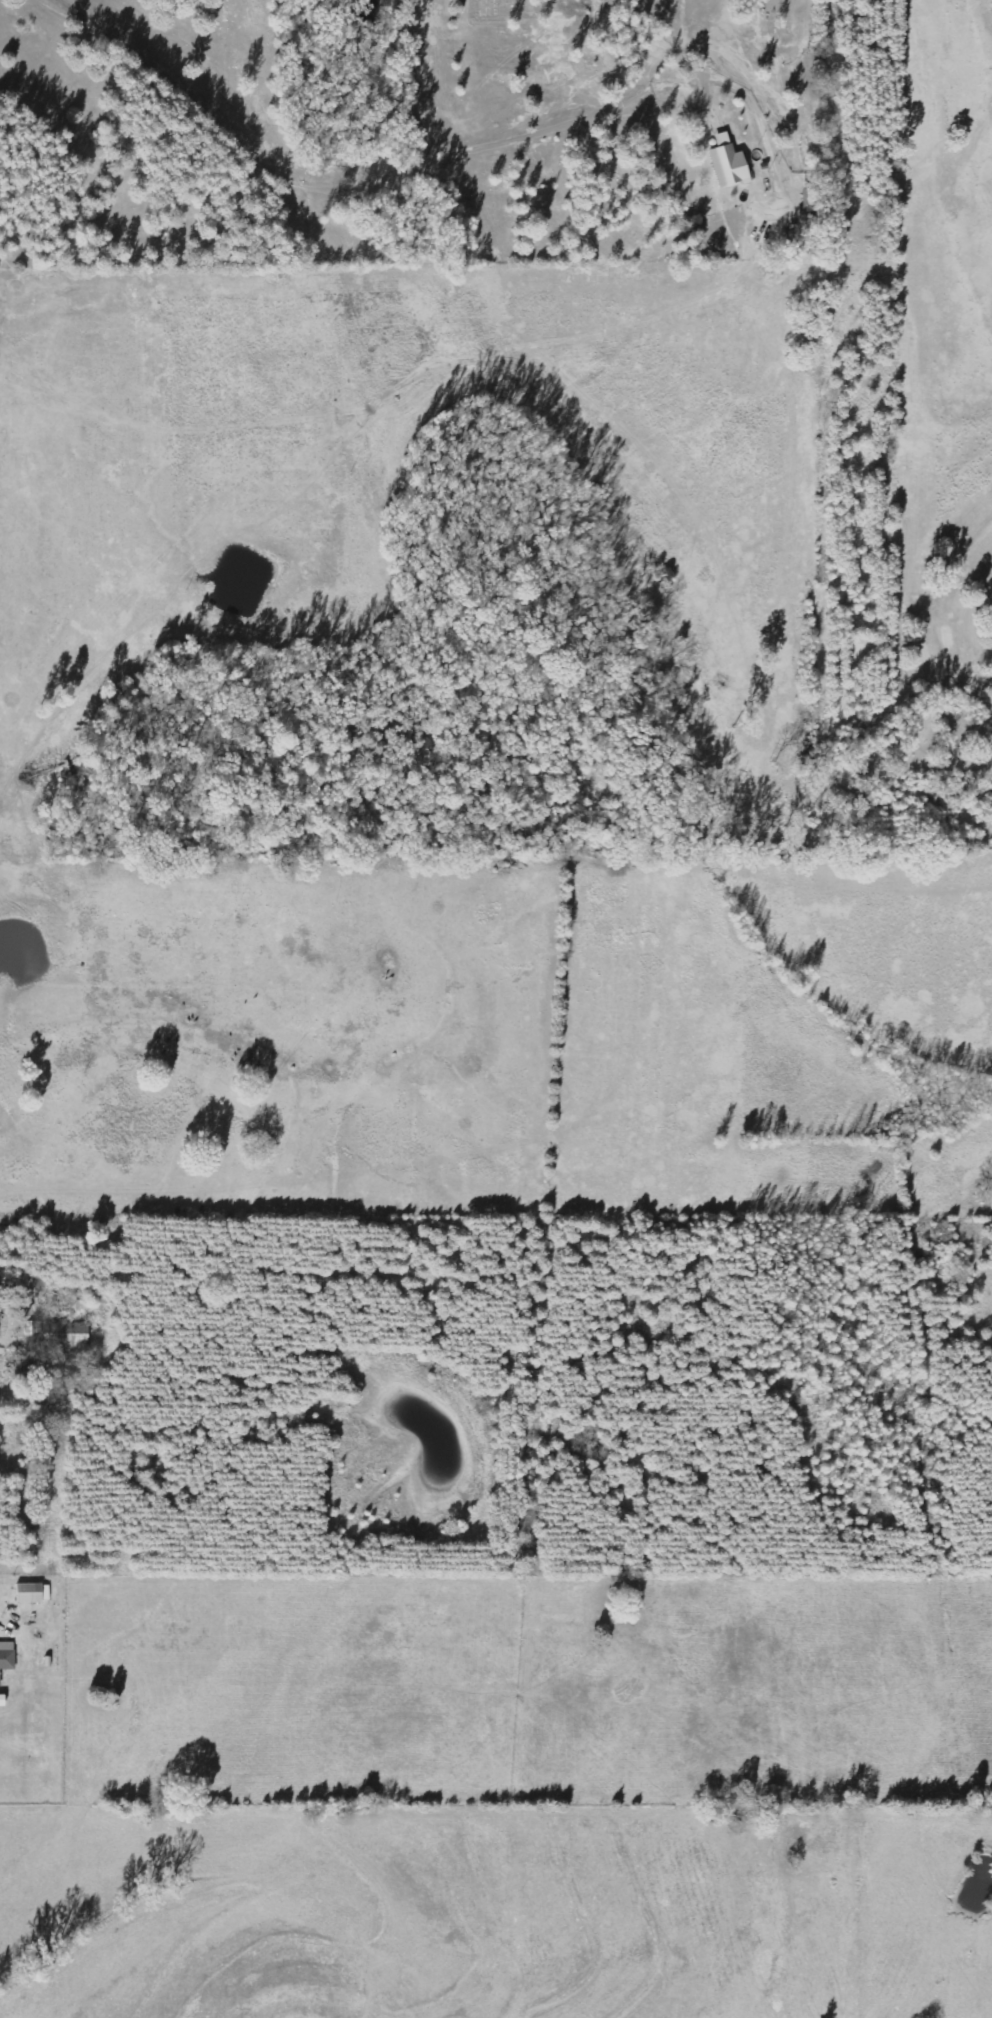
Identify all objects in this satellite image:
road: (472, 158)
building: (727, 162)
building: (34, 1328)
building: (71, 1334)
road: (37, 1486)
building: (32, 1592)
building: (6, 1655)

